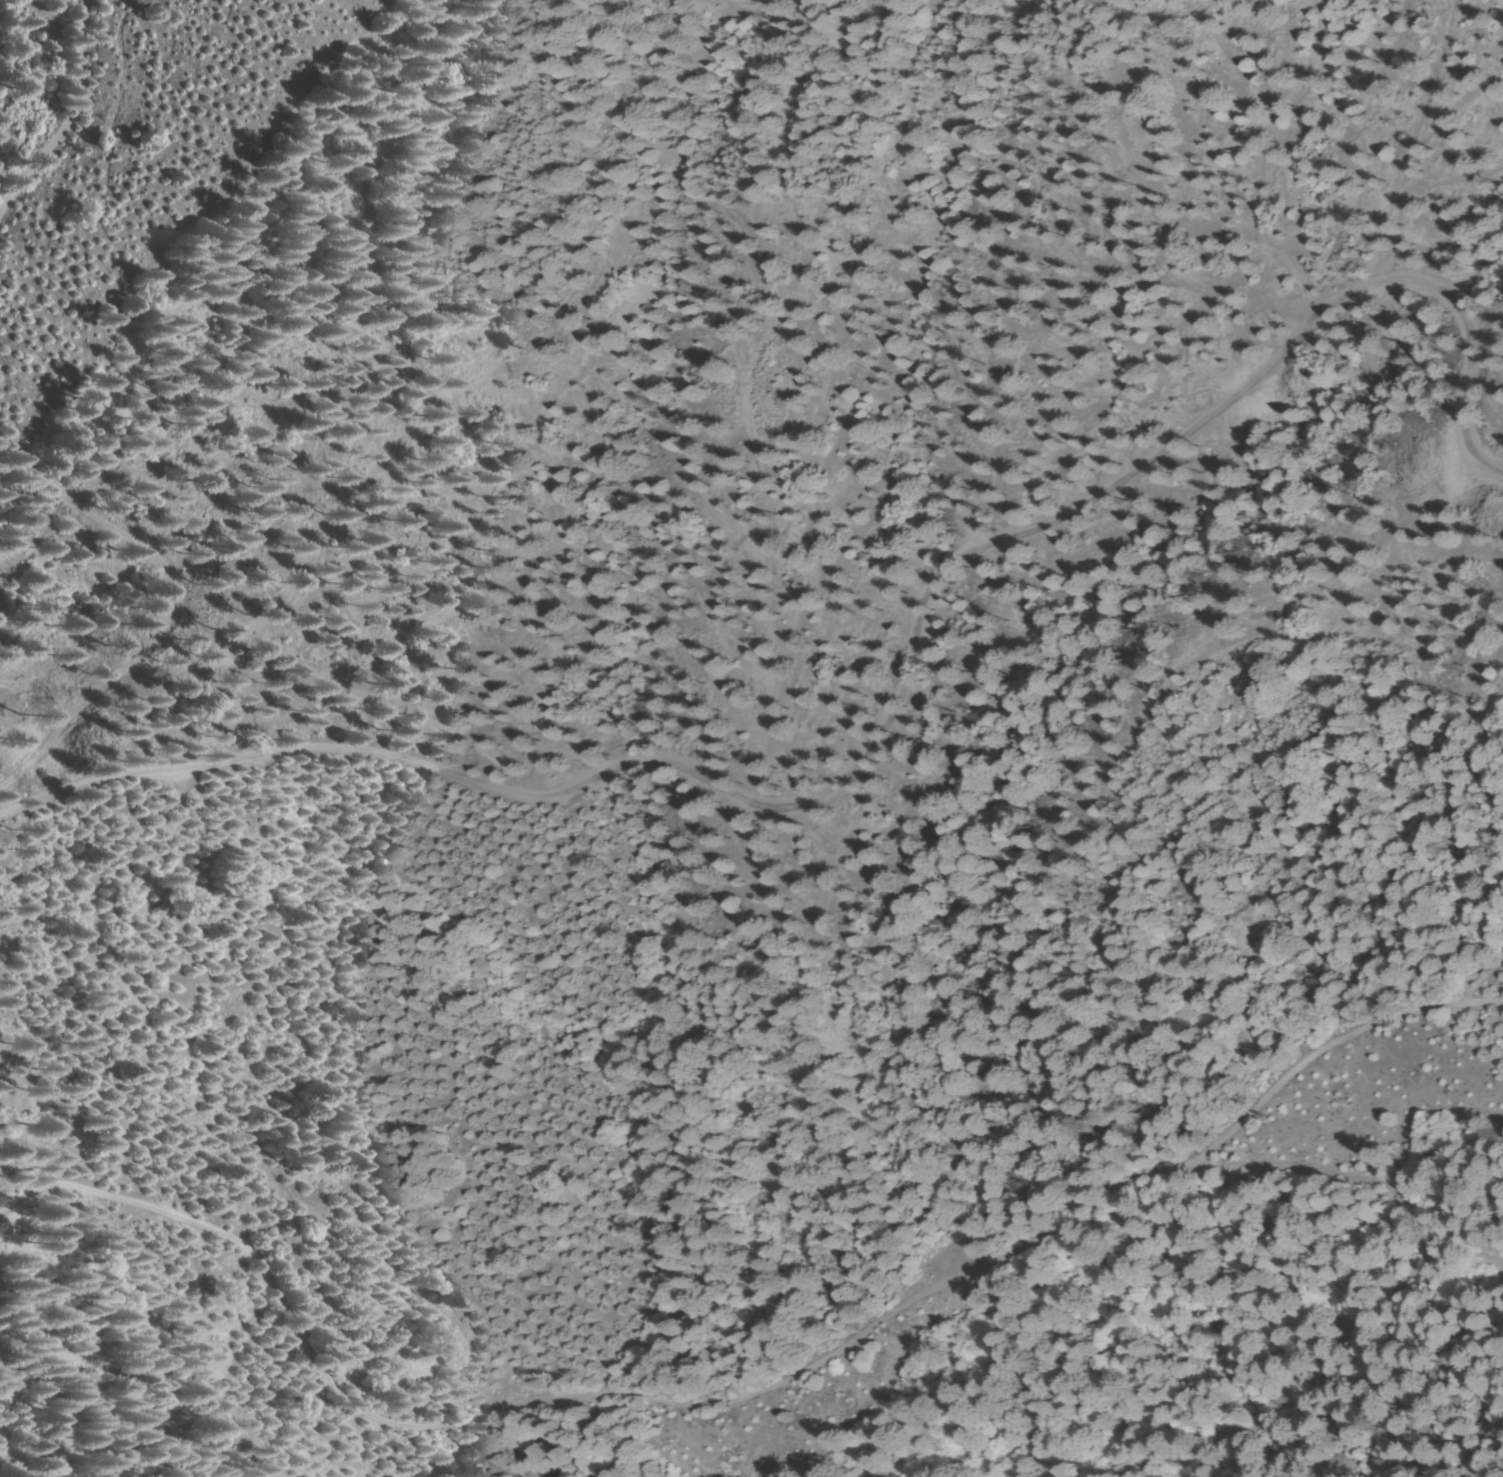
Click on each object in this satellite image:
road: (63, 111)
road: (177, 612)
road: (895, 697)
road: (12, 810)
road: (1335, 1163)
road: (1247, 1340)
road: (761, 1399)
road: (341, 1439)

